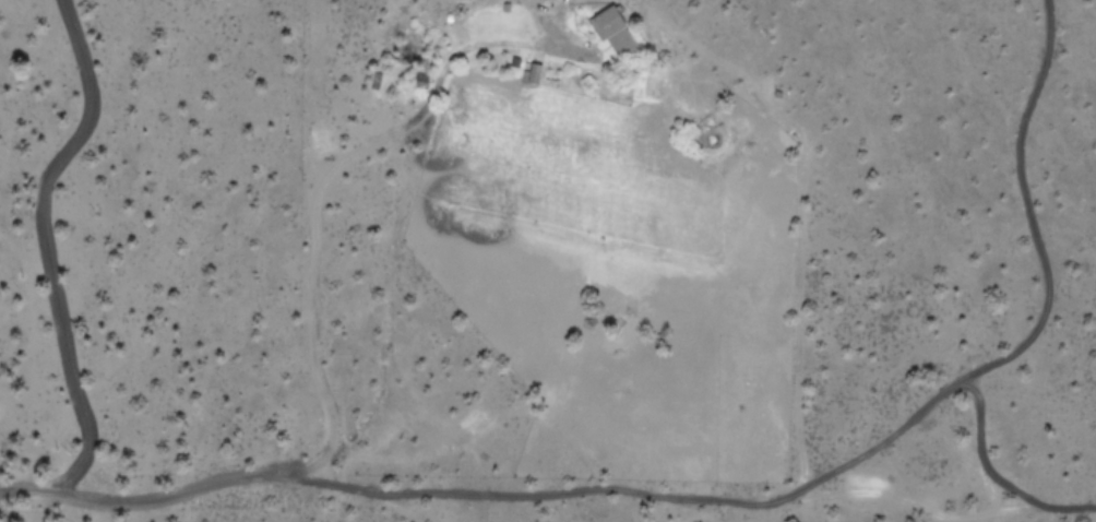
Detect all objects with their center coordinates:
building: (612, 29)
road: (1033, 223)
road: (992, 481)
road: (487, 497)

